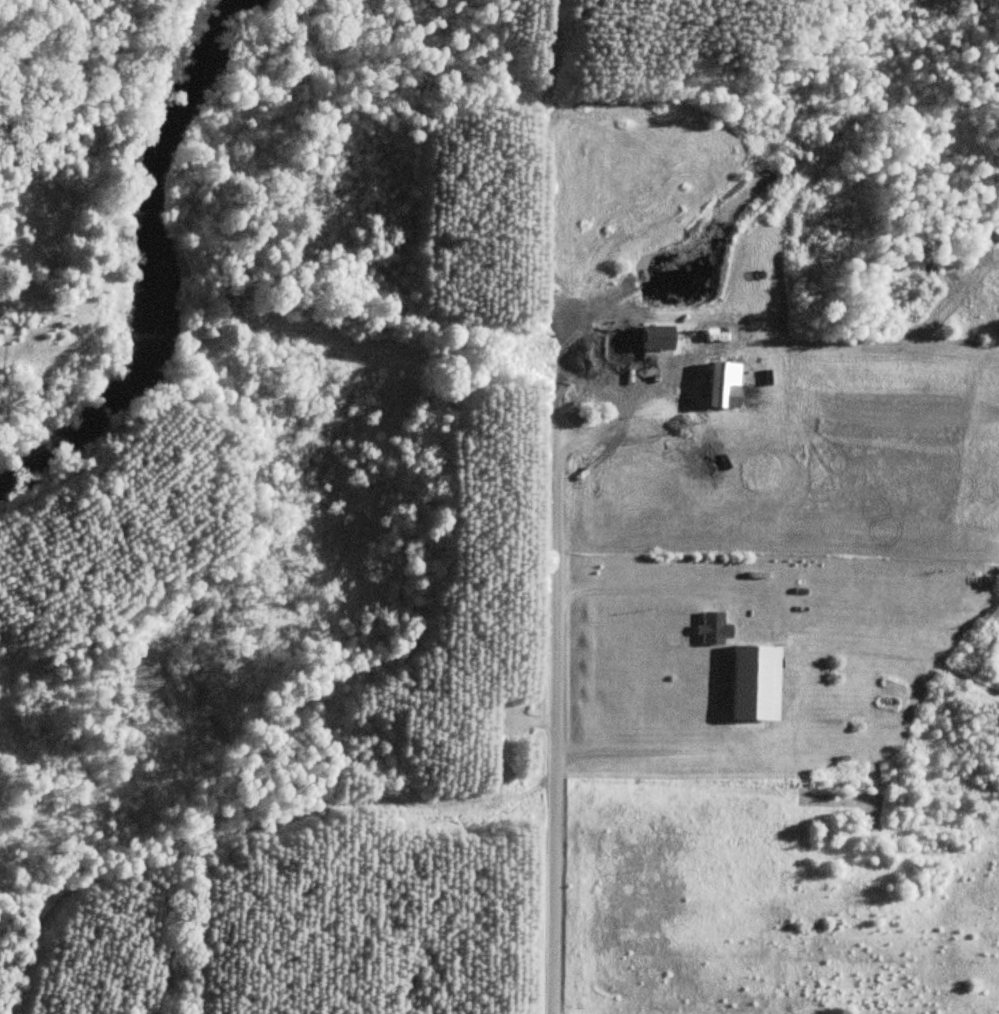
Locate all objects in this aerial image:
river: (151, 267)
building: (639, 342)
road: (582, 367)
building: (723, 386)
road: (635, 586)
building: (713, 629)
road: (542, 719)
road: (639, 751)
road: (245, 826)

